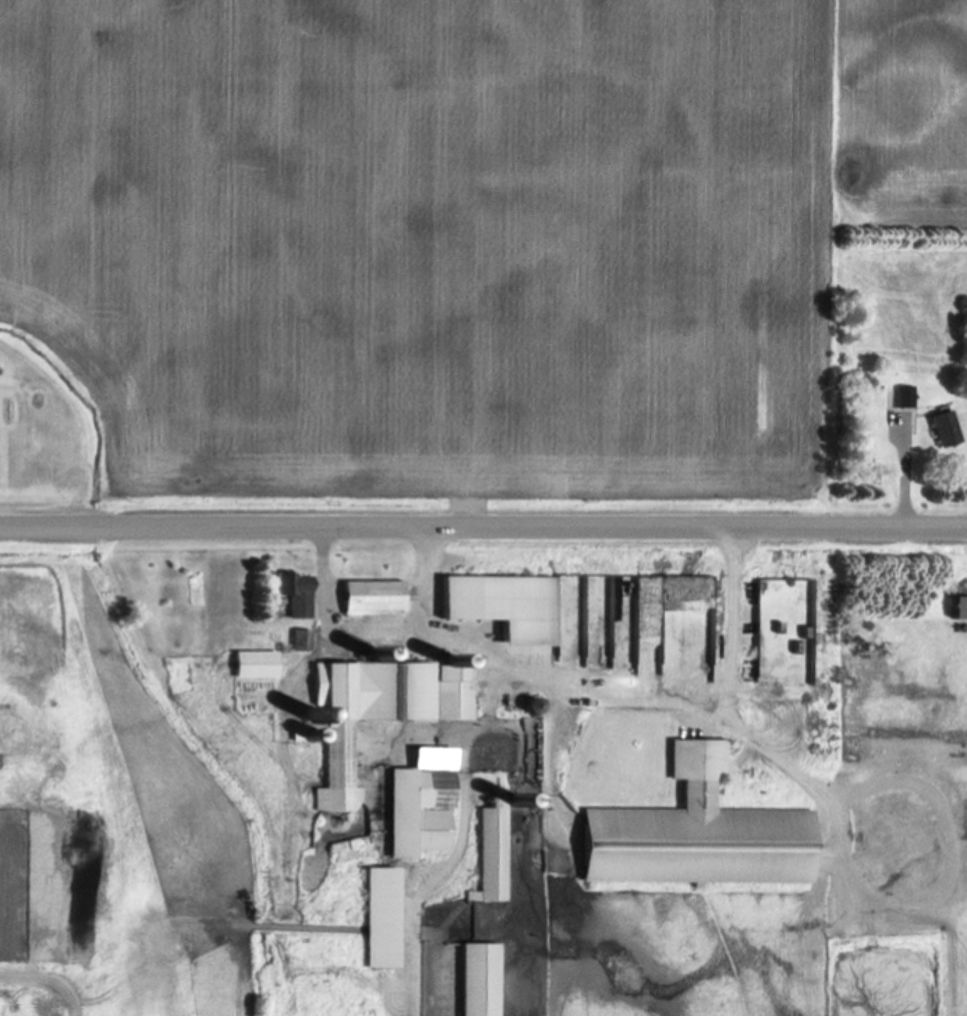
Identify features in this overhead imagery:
building: (901, 398)
building: (938, 430)
road: (905, 483)
road: (483, 526)
building: (290, 595)
building: (367, 599)
building: (498, 607)
building: (956, 610)
road: (377, 632)
building: (296, 642)
building: (250, 666)
road: (657, 702)
building: (374, 713)
building: (416, 805)
building: (690, 836)
building: (488, 851)
building: (375, 920)
solar farm: (43, 978)
building: (474, 980)

